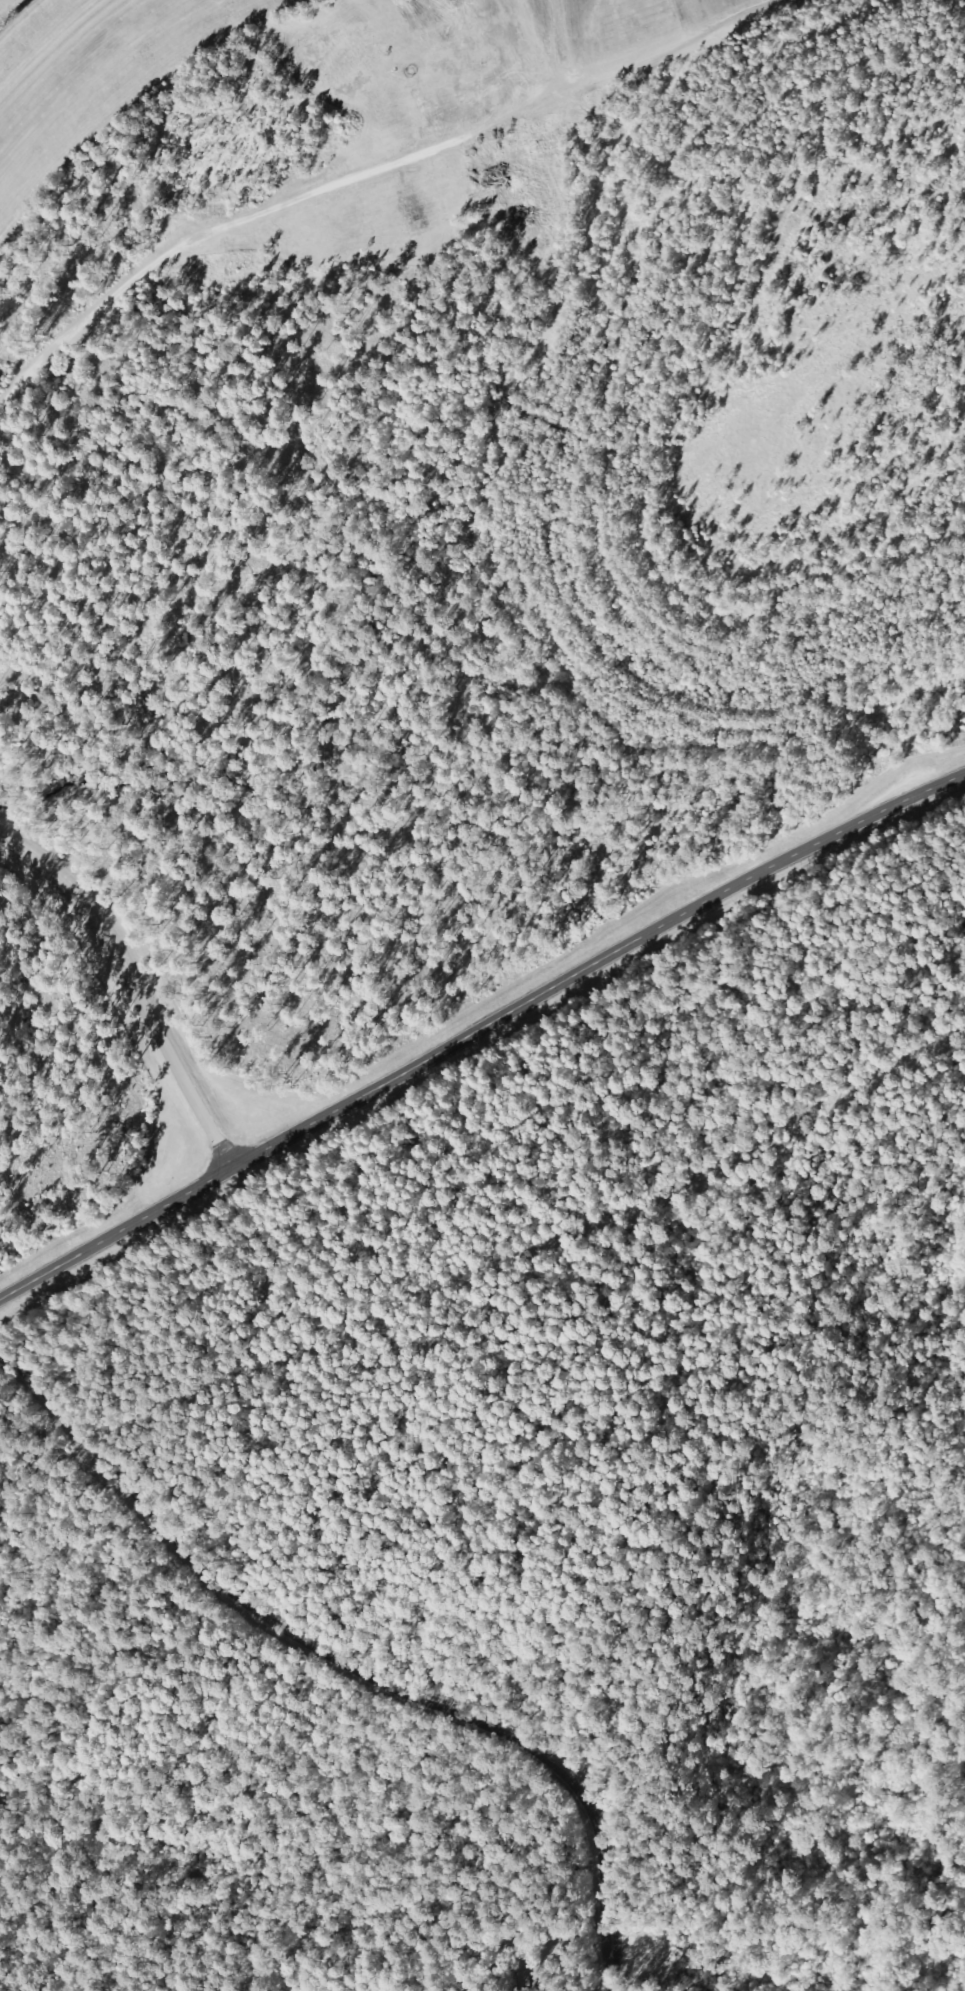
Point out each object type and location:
road: (130, 989)
road: (479, 1028)
road: (346, 1667)

